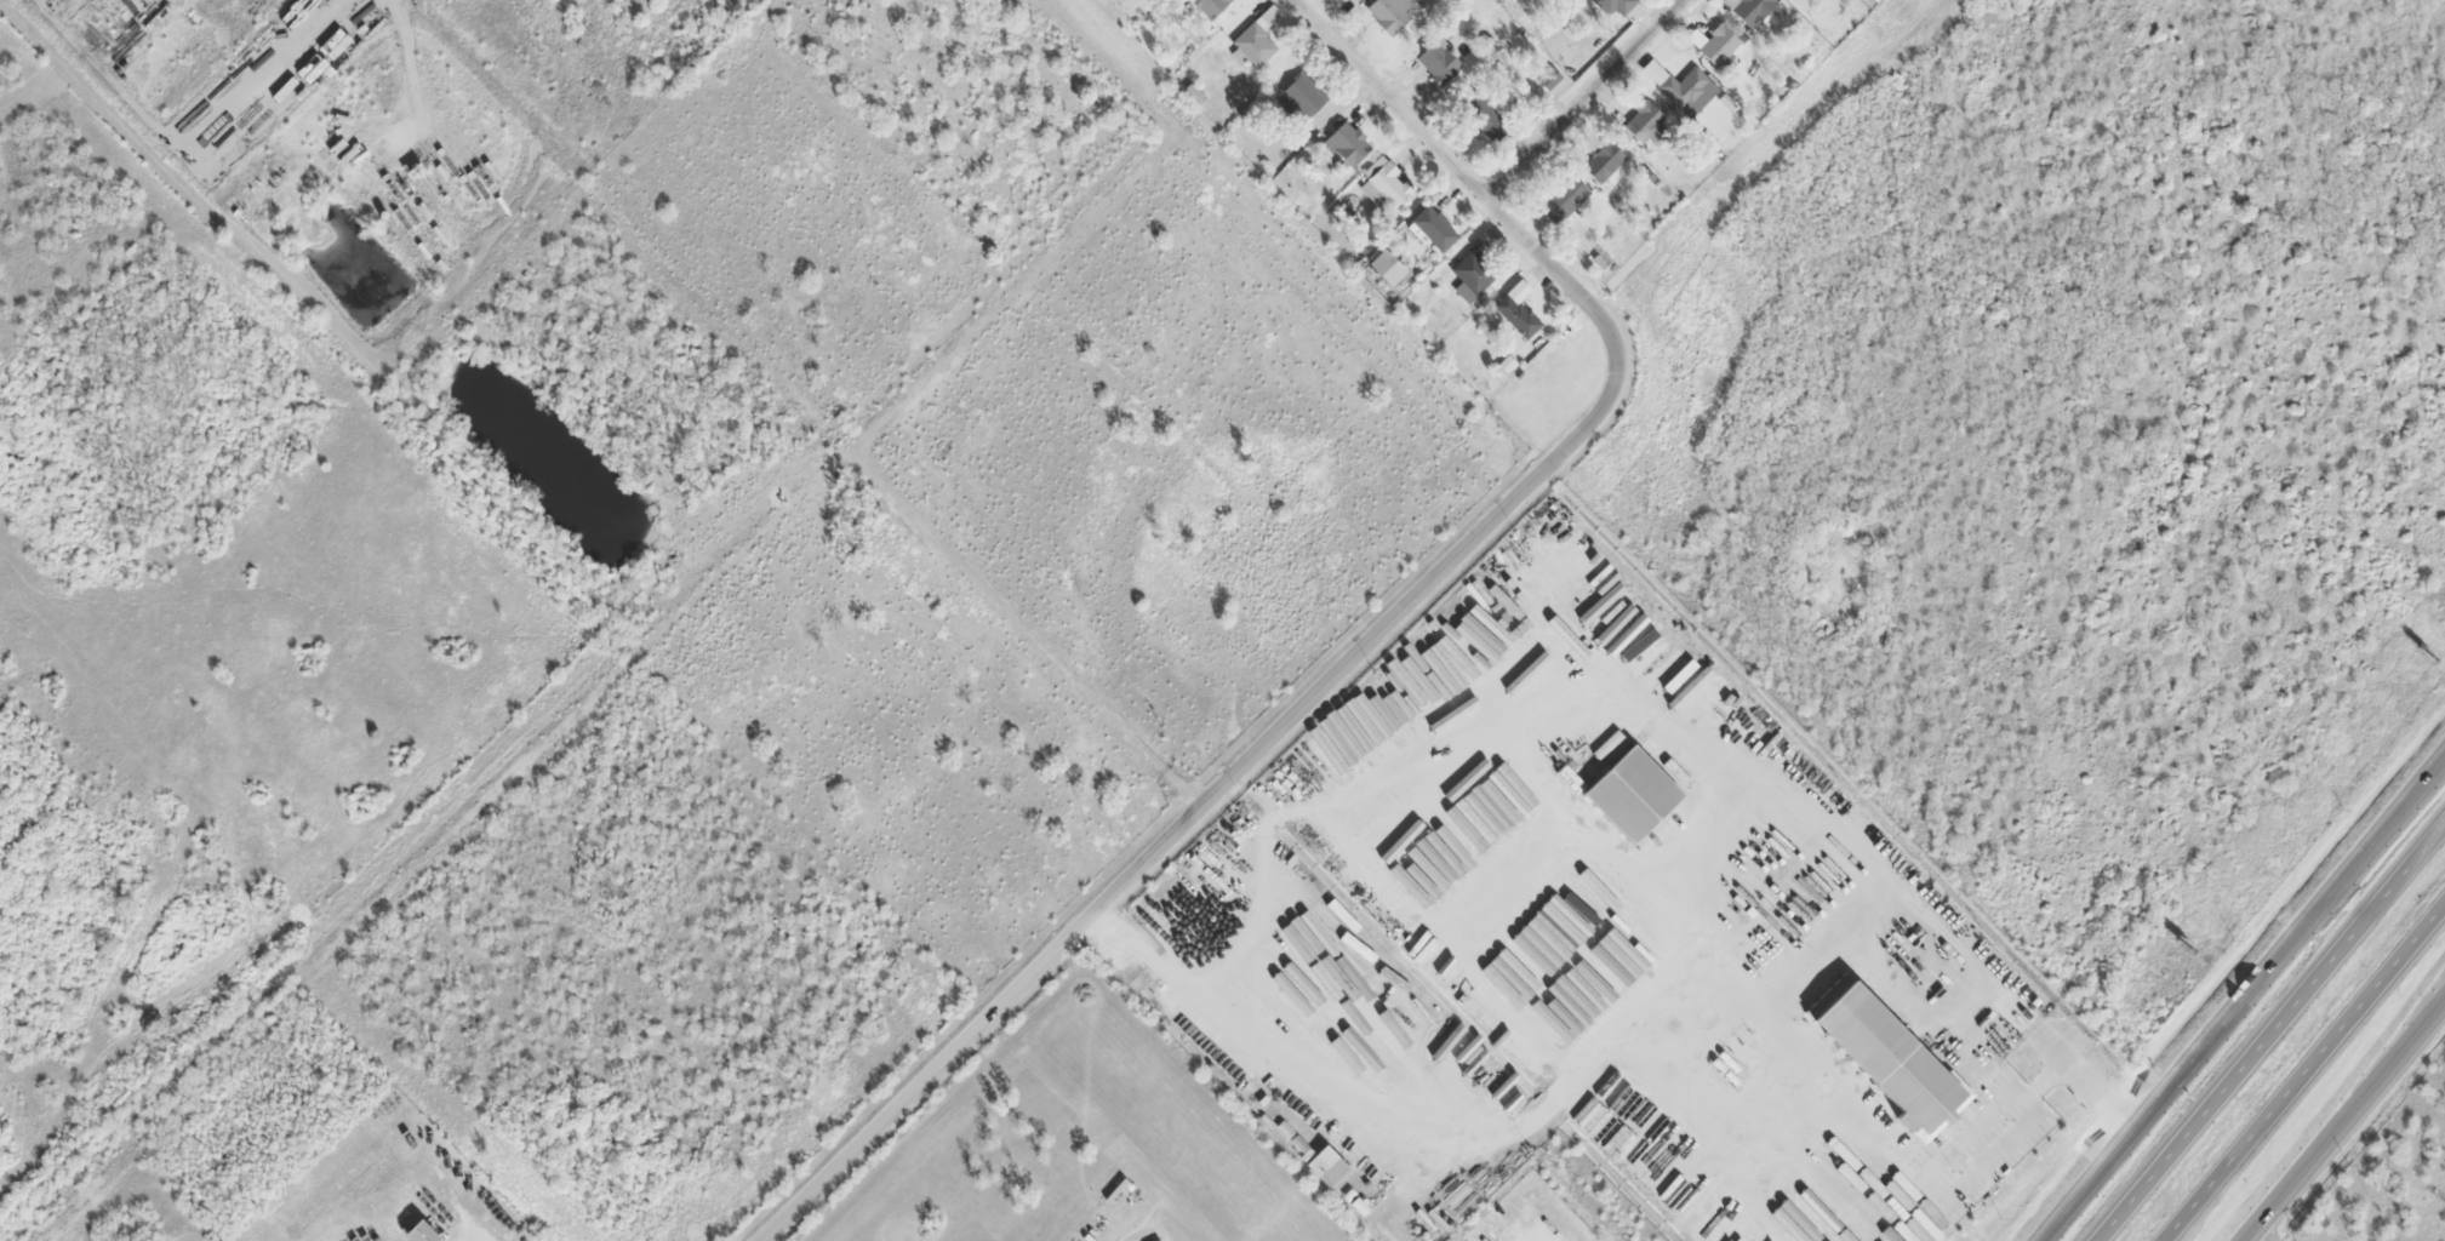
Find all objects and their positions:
building: (1873, 1)
building: (1209, 6)
building: (1613, 6)
building: (1754, 12)
building: (1389, 15)
building: (1256, 40)
building: (1714, 46)
building: (1436, 63)
building: (1653, 72)
building: (1549, 79)
building: (1689, 92)
building: (1194, 95)
building: (1303, 97)
road: (1587, 98)
building: (1649, 116)
building: (1491, 130)
road: (1433, 139)
building: (1348, 144)
building: (1606, 165)
building: (1386, 184)
building: (1565, 201)
building: (1433, 230)
building: (1601, 261)
building: (1387, 268)
building: (1472, 278)
building: (1518, 310)
building: (1506, 365)
road: (1238, 772)
building: (1629, 794)
road: (2243, 1002)
road: (2272, 1034)
road: (2399, 1054)
building: (1887, 1059)
road: (2306, 1076)
road: (2347, 1125)
building: (1324, 1166)
road: (2297, 1179)
building: (417, 1233)
building: (1386, 1233)

